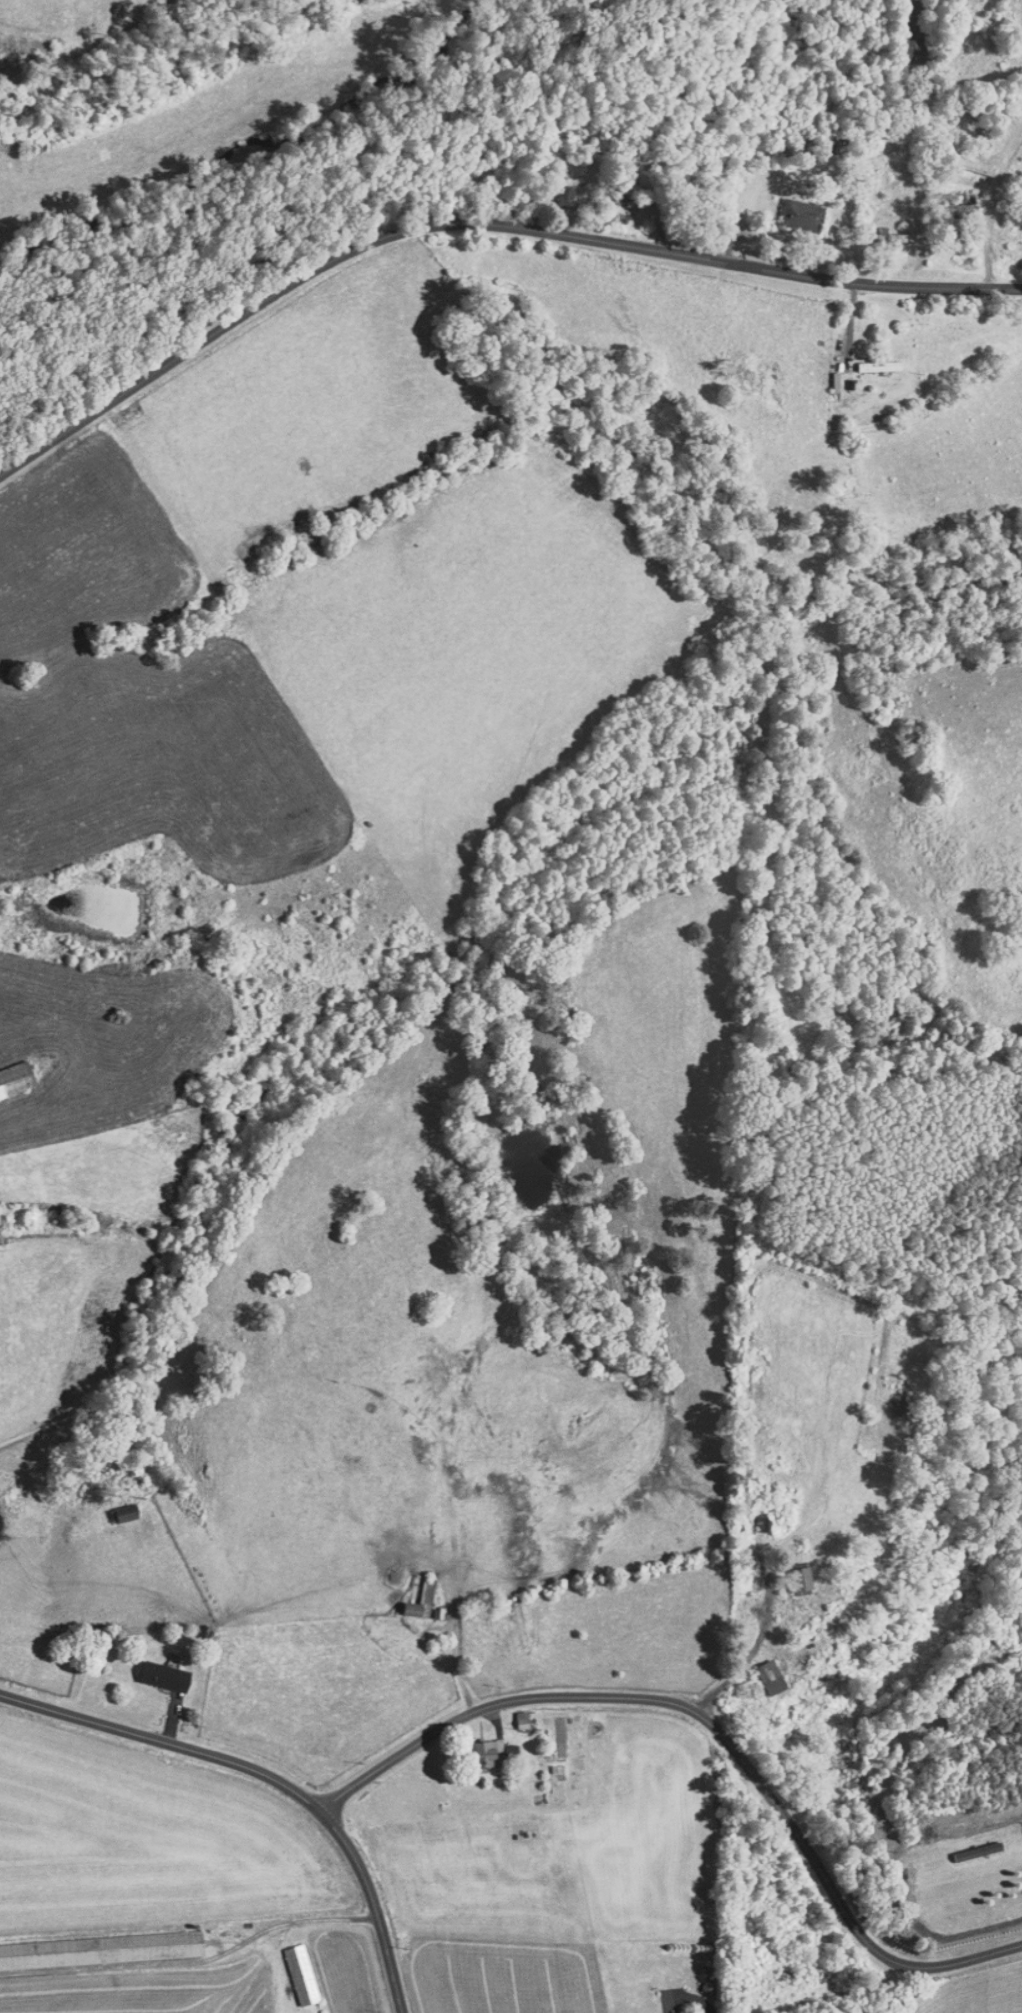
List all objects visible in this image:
building: (556, 190)
building: (790, 213)
road: (478, 227)
building: (876, 229)
building: (868, 360)
building: (10, 1071)
building: (115, 1506)
building: (752, 1516)
building: (790, 1572)
building: (410, 1594)
road: (765, 1623)
building: (154, 1670)
building: (759, 1670)
building: (511, 1713)
road: (714, 1725)
building: (477, 1746)
road: (268, 1777)
building: (973, 1843)
road: (290, 1920)
building: (96, 1943)
building: (291, 1968)

